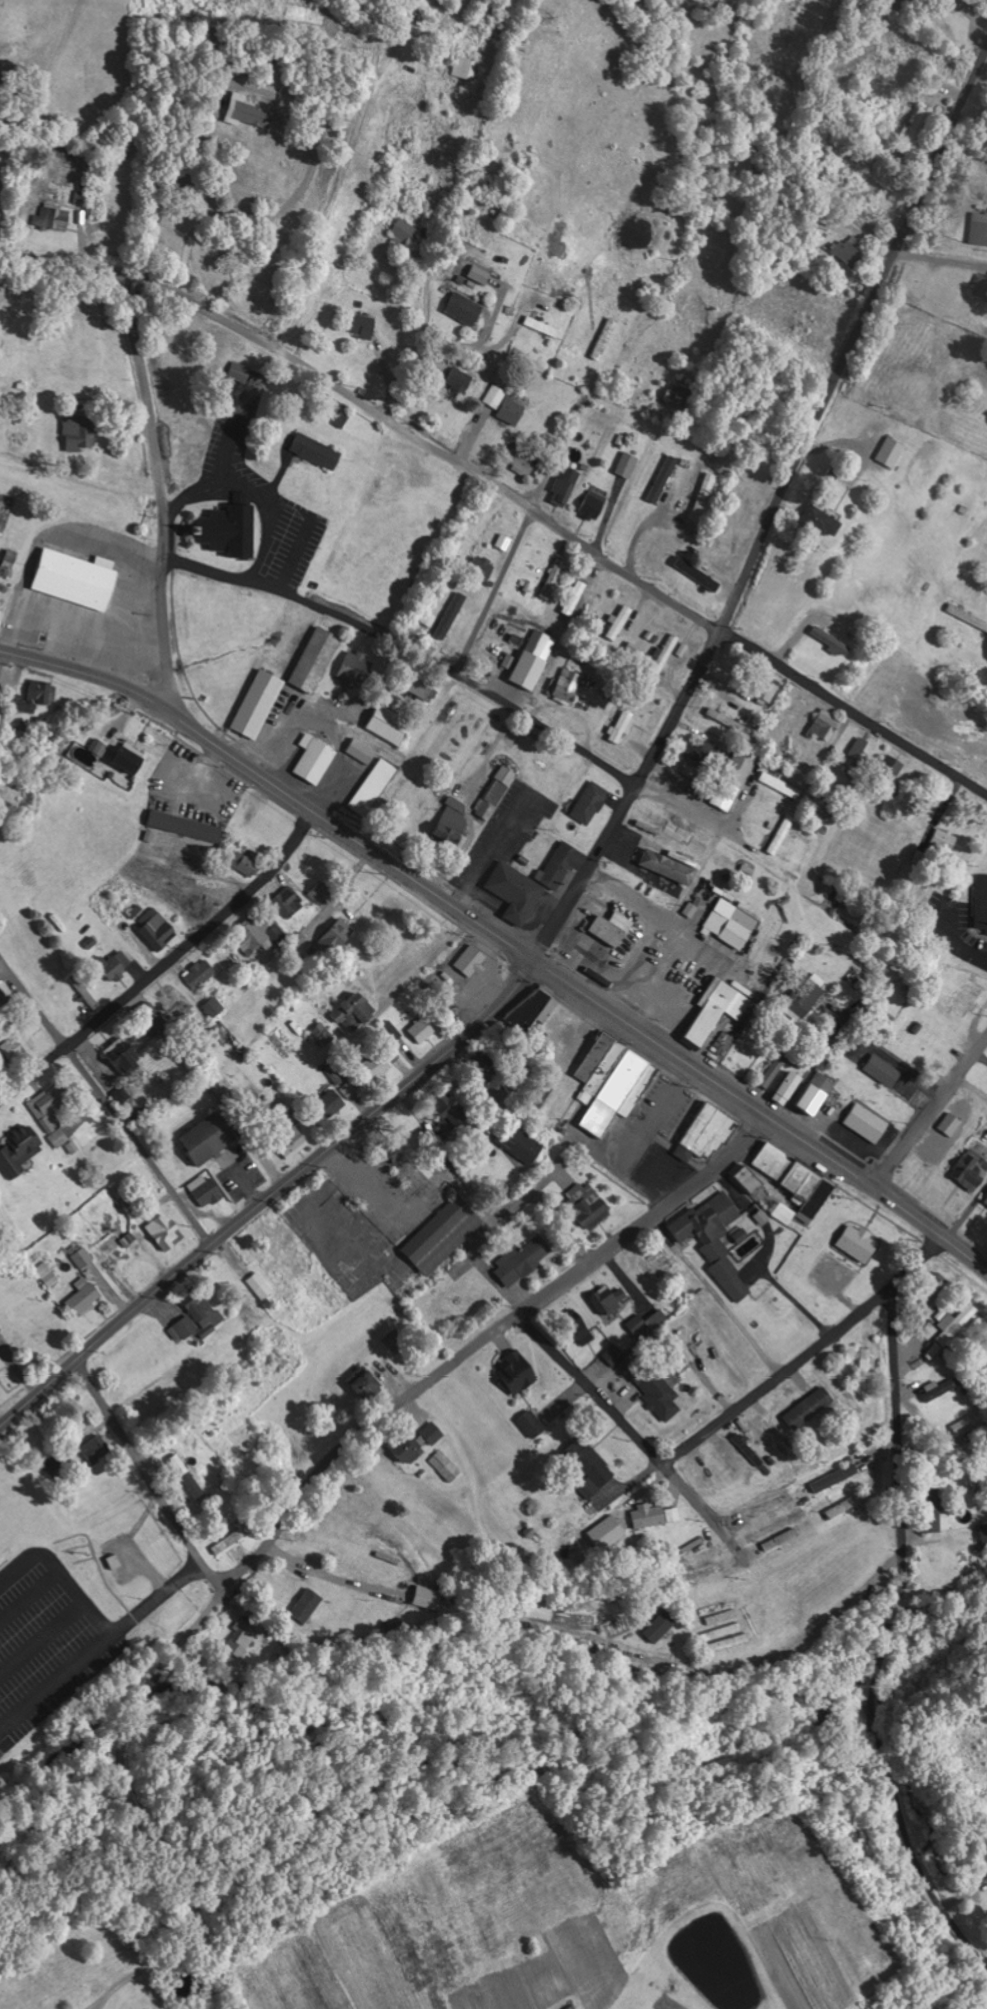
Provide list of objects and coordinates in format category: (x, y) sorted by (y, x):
building: (461, 69)
building: (250, 112)
building: (910, 132)
building: (66, 176)
building: (81, 197)
building: (55, 218)
building: (979, 229)
building: (404, 230)
building: (849, 251)
road: (102, 266)
building: (481, 274)
building: (981, 287)
building: (465, 309)
building: (362, 325)
building: (543, 327)
road: (917, 367)
building: (241, 372)
building: (460, 379)
building: (505, 405)
building: (80, 431)
building: (318, 451)
building: (892, 451)
building: (628, 464)
building: (524, 465)
building: (663, 479)
building: (566, 486)
road: (164, 488)
building: (702, 497)
building: (594, 504)
road: (773, 510)
building: (823, 520)
road: (554, 524)
park: (396, 527)
building: (230, 530)
building: (12, 559)
building: (482, 568)
building: (75, 579)
building: (555, 579)
road: (494, 590)
building: (452, 616)
building: (619, 622)
building: (835, 642)
road: (412, 651)
building: (666, 653)
building: (317, 660)
building: (534, 660)
building: (356, 669)
building: (421, 685)
building: (568, 686)
building: (767, 690)
building: (36, 696)
building: (259, 704)
building: (726, 719)
building: (391, 726)
building: (624, 726)
building: (827, 726)
building: (100, 747)
building: (704, 750)
building: (362, 752)
building: (862, 753)
building: (131, 757)
building: (316, 759)
building: (890, 769)
building: (734, 780)
building: (779, 785)
road: (275, 787)
building: (374, 787)
building: (497, 792)
building: (592, 803)
building: (451, 823)
building: (187, 826)
building: (782, 835)
building: (944, 840)
building: (654, 851)
building: (248, 862)
building: (563, 864)
building: (518, 892)
building: (321, 894)
building: (982, 902)
building: (289, 903)
building: (691, 910)
building: (734, 923)
building: (160, 931)
building: (618, 931)
building: (259, 932)
building: (336, 938)
road: (163, 961)
building: (473, 962)
building: (117, 965)
building: (201, 974)
building: (85, 991)
building: (807, 997)
building: (971, 997)
building: (4, 1004)
building: (215, 1007)
building: (535, 1008)
building: (356, 1012)
building: (717, 1013)
building: (151, 1019)
building: (424, 1030)
building: (324, 1034)
road: (646, 1038)
building: (17, 1048)
building: (127, 1057)
building: (483, 1062)
building: (885, 1071)
building: (336, 1075)
building: (613, 1082)
building: (790, 1088)
building: (349, 1090)
building: (817, 1094)
building: (333, 1101)
building: (52, 1112)
road: (115, 1112)
building: (449, 1112)
road: (929, 1112)
building: (868, 1123)
building: (952, 1125)
building: (708, 1134)
building: (209, 1139)
building: (521, 1143)
building: (296, 1146)
building: (20, 1152)
building: (971, 1170)
building: (749, 1179)
building: (798, 1180)
building: (207, 1190)
road: (875, 1190)
road: (270, 1196)
building: (588, 1205)
building: (785, 1214)
road: (966, 1214)
building: (763, 1218)
building: (166, 1233)
building: (444, 1235)
building: (743, 1236)
building: (130, 1239)
building: (716, 1240)
building: (860, 1244)
building: (84, 1259)
building: (524, 1261)
building: (48, 1274)
building: (261, 1286)
building: (931, 1289)
building: (85, 1297)
building: (609, 1301)
building: (197, 1318)
building: (954, 1323)
building: (648, 1324)
building: (0, 1330)
building: (930, 1330)
building: (580, 1331)
road: (486, 1339)
building: (614, 1355)
building: (865, 1367)
building: (520, 1372)
building: (654, 1384)
building: (370, 1385)
building: (942, 1388)
road: (725, 1417)
building: (967, 1423)
building: (533, 1424)
building: (434, 1433)
building: (769, 1435)
building: (99, 1448)
building: (408, 1450)
building: (592, 1463)
building: (446, 1466)
road: (146, 1474)
building: (837, 1478)
building: (852, 1502)
building: (932, 1509)
building: (649, 1516)
building: (231, 1538)
building: (428, 1598)
building: (308, 1606)
building: (661, 1627)
building: (241, 1639)
road: (885, 1642)

